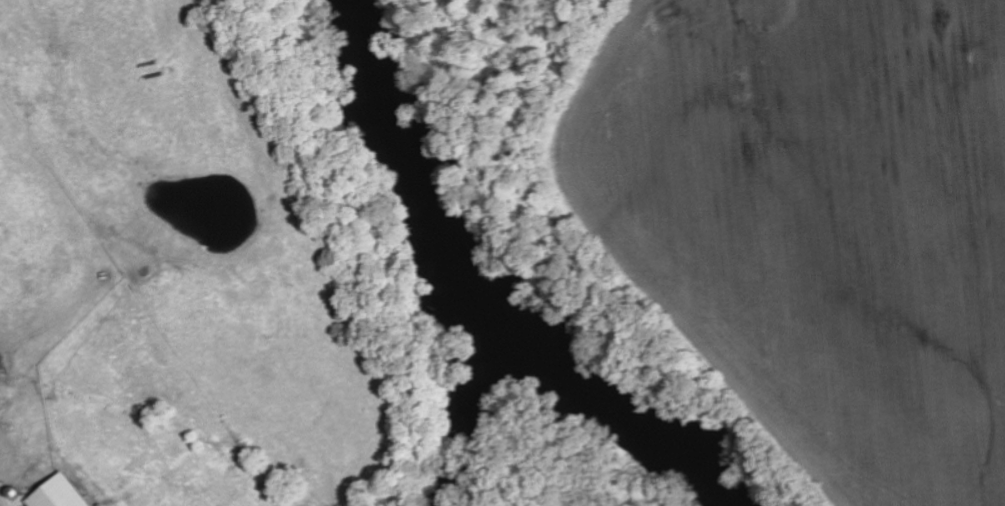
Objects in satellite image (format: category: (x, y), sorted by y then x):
river: (443, 304)
building: (55, 493)

